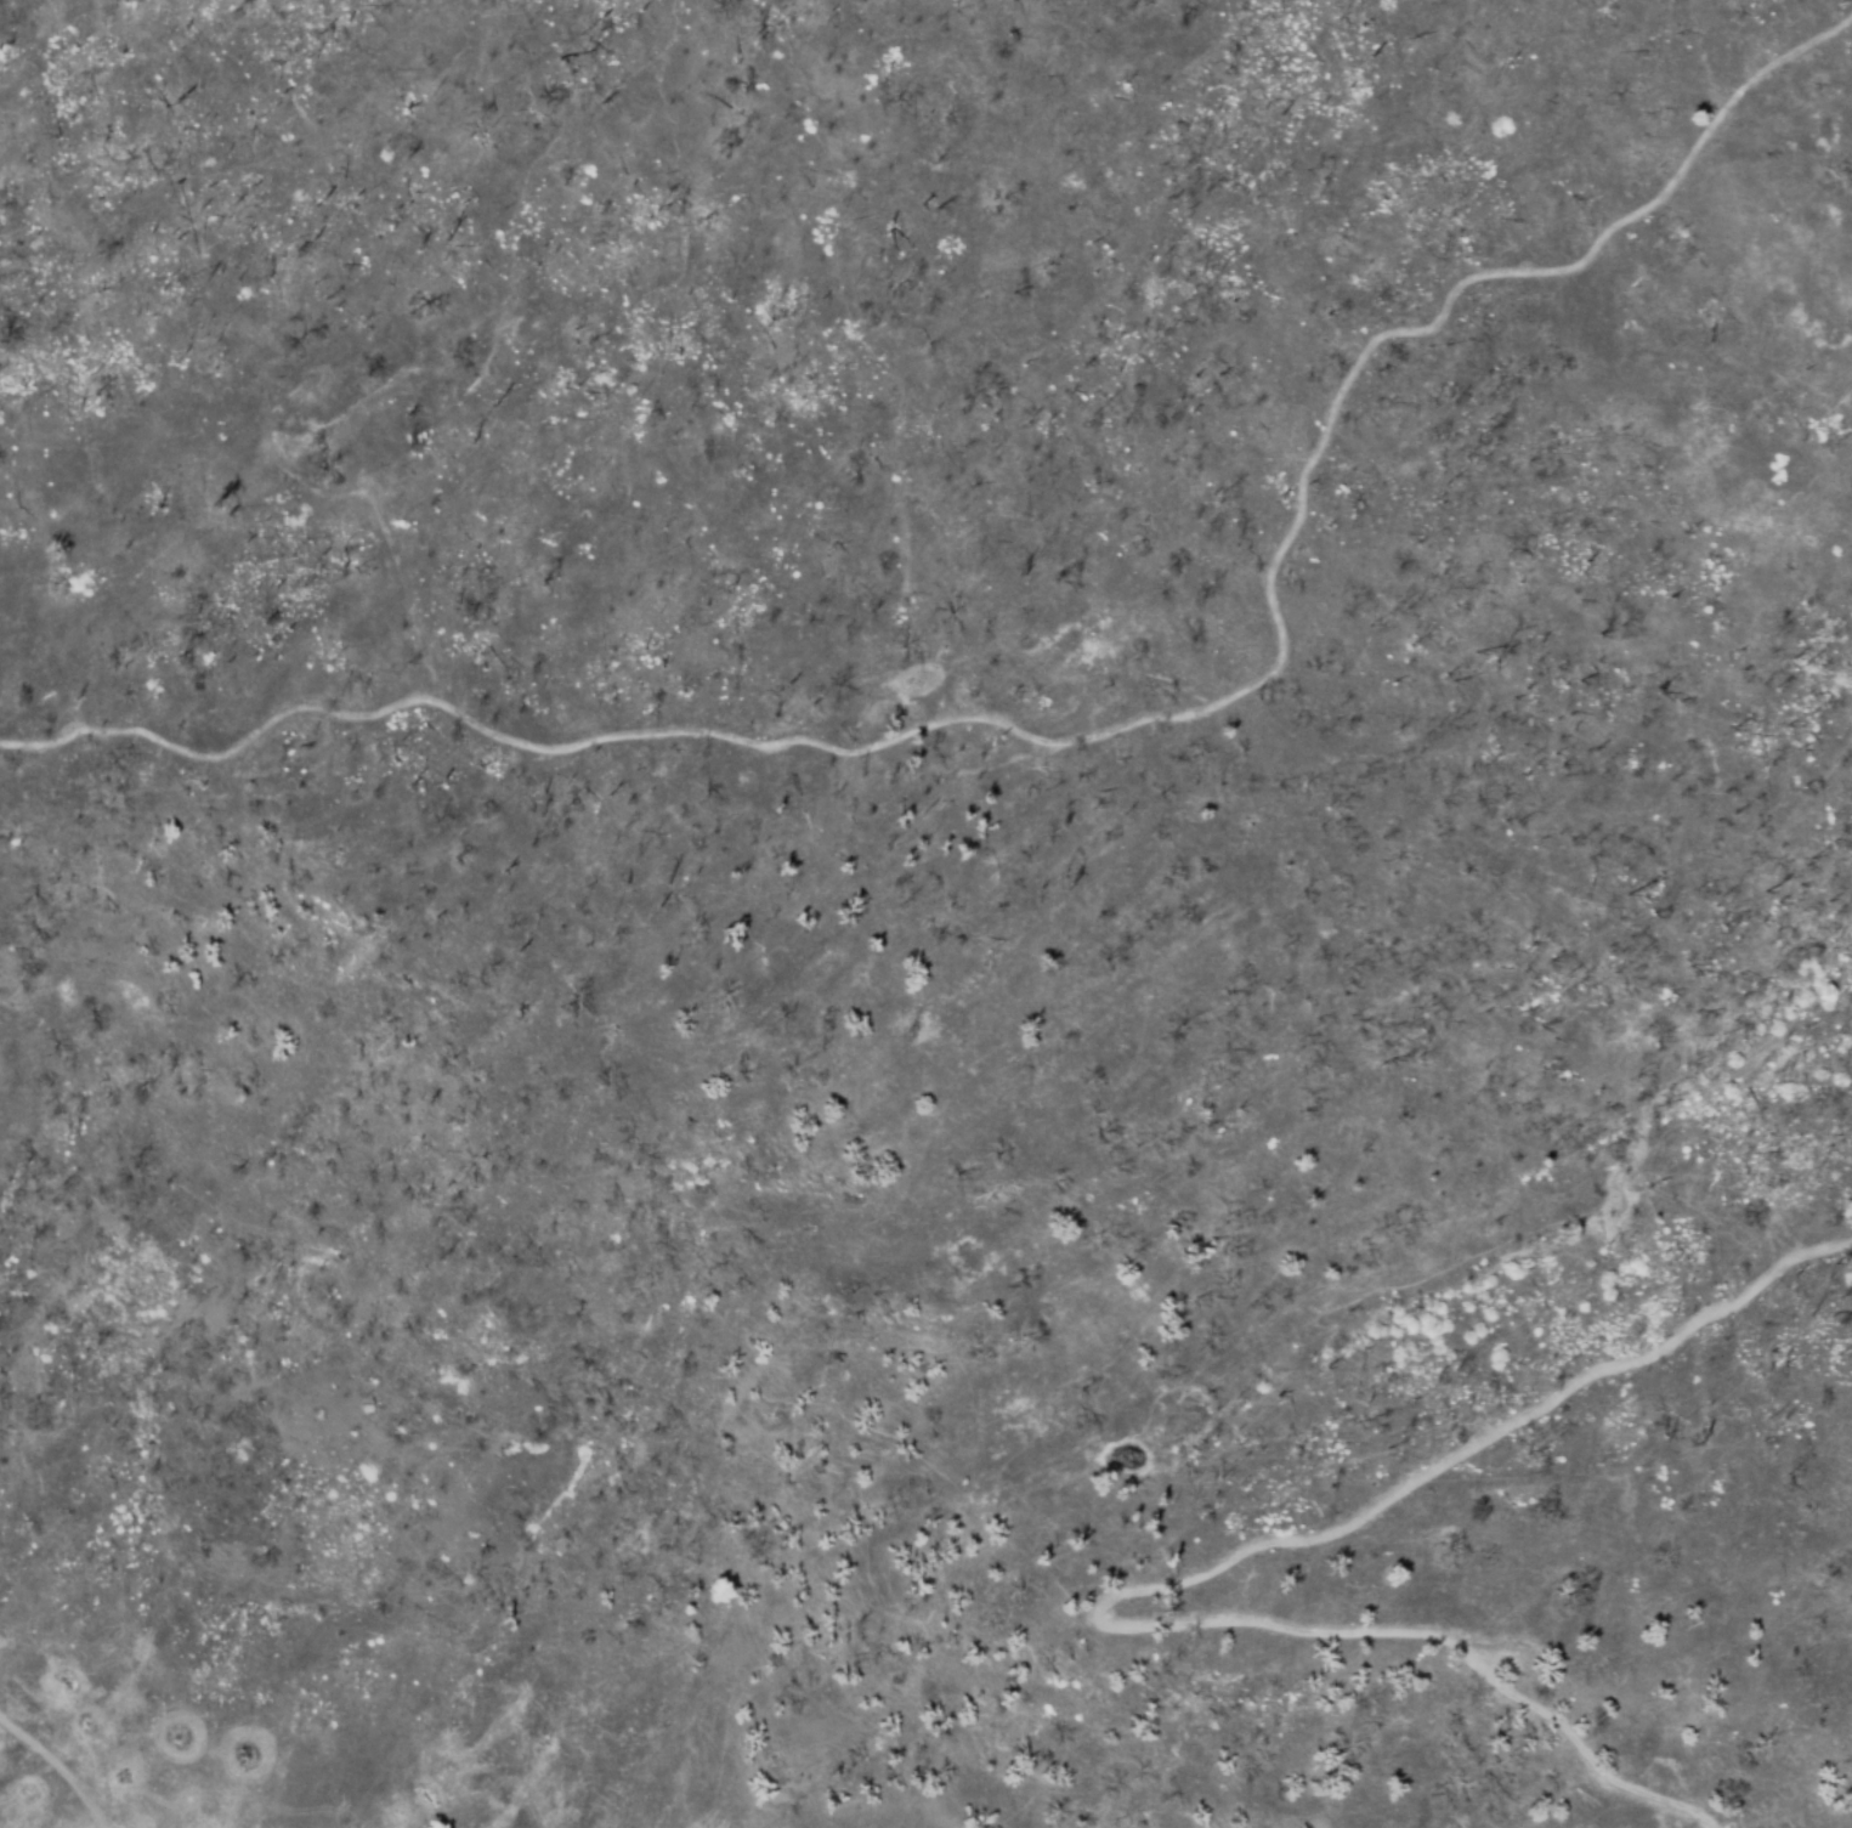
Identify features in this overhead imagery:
road: (1160, 1585)
road: (75, 1758)

